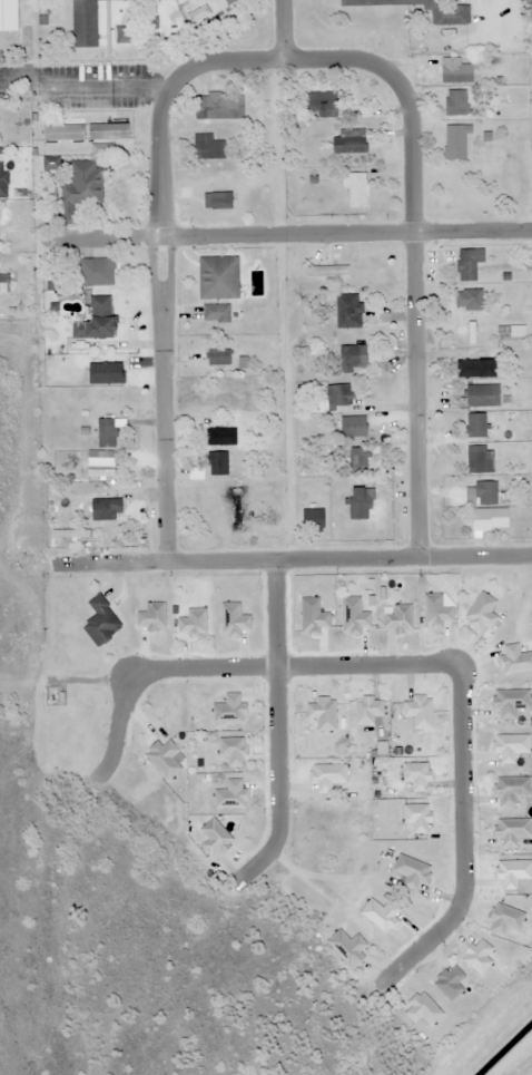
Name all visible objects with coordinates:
building: (8, 16)
building: (450, 16)
building: (82, 22)
road: (282, 29)
road: (220, 60)
building: (455, 71)
building: (456, 102)
building: (322, 104)
building: (219, 106)
building: (109, 131)
building: (63, 133)
building: (349, 140)
building: (455, 141)
building: (208, 147)
building: (3, 180)
building: (81, 188)
building: (357, 189)
road: (285, 233)
road: (412, 257)
building: (469, 263)
building: (327, 271)
building: (95, 272)
building: (218, 277)
building: (4, 284)
building: (469, 305)
building: (348, 311)
building: (216, 313)
building: (97, 320)
road: (160, 325)
building: (511, 333)
building: (217, 358)
building: (353, 358)
building: (476, 368)
building: (100, 384)
building: (230, 393)
building: (482, 395)
building: (338, 397)
building: (476, 426)
building: (353, 427)
building: (107, 433)
building: (221, 437)
building: (359, 459)
building: (480, 459)
building: (217, 463)
building: (101, 468)
building: (485, 492)
building: (361, 504)
building: (236, 506)
building: (313, 518)
building: (490, 519)
road: (290, 558)
building: (101, 623)
road: (412, 662)
road: (278, 727)

